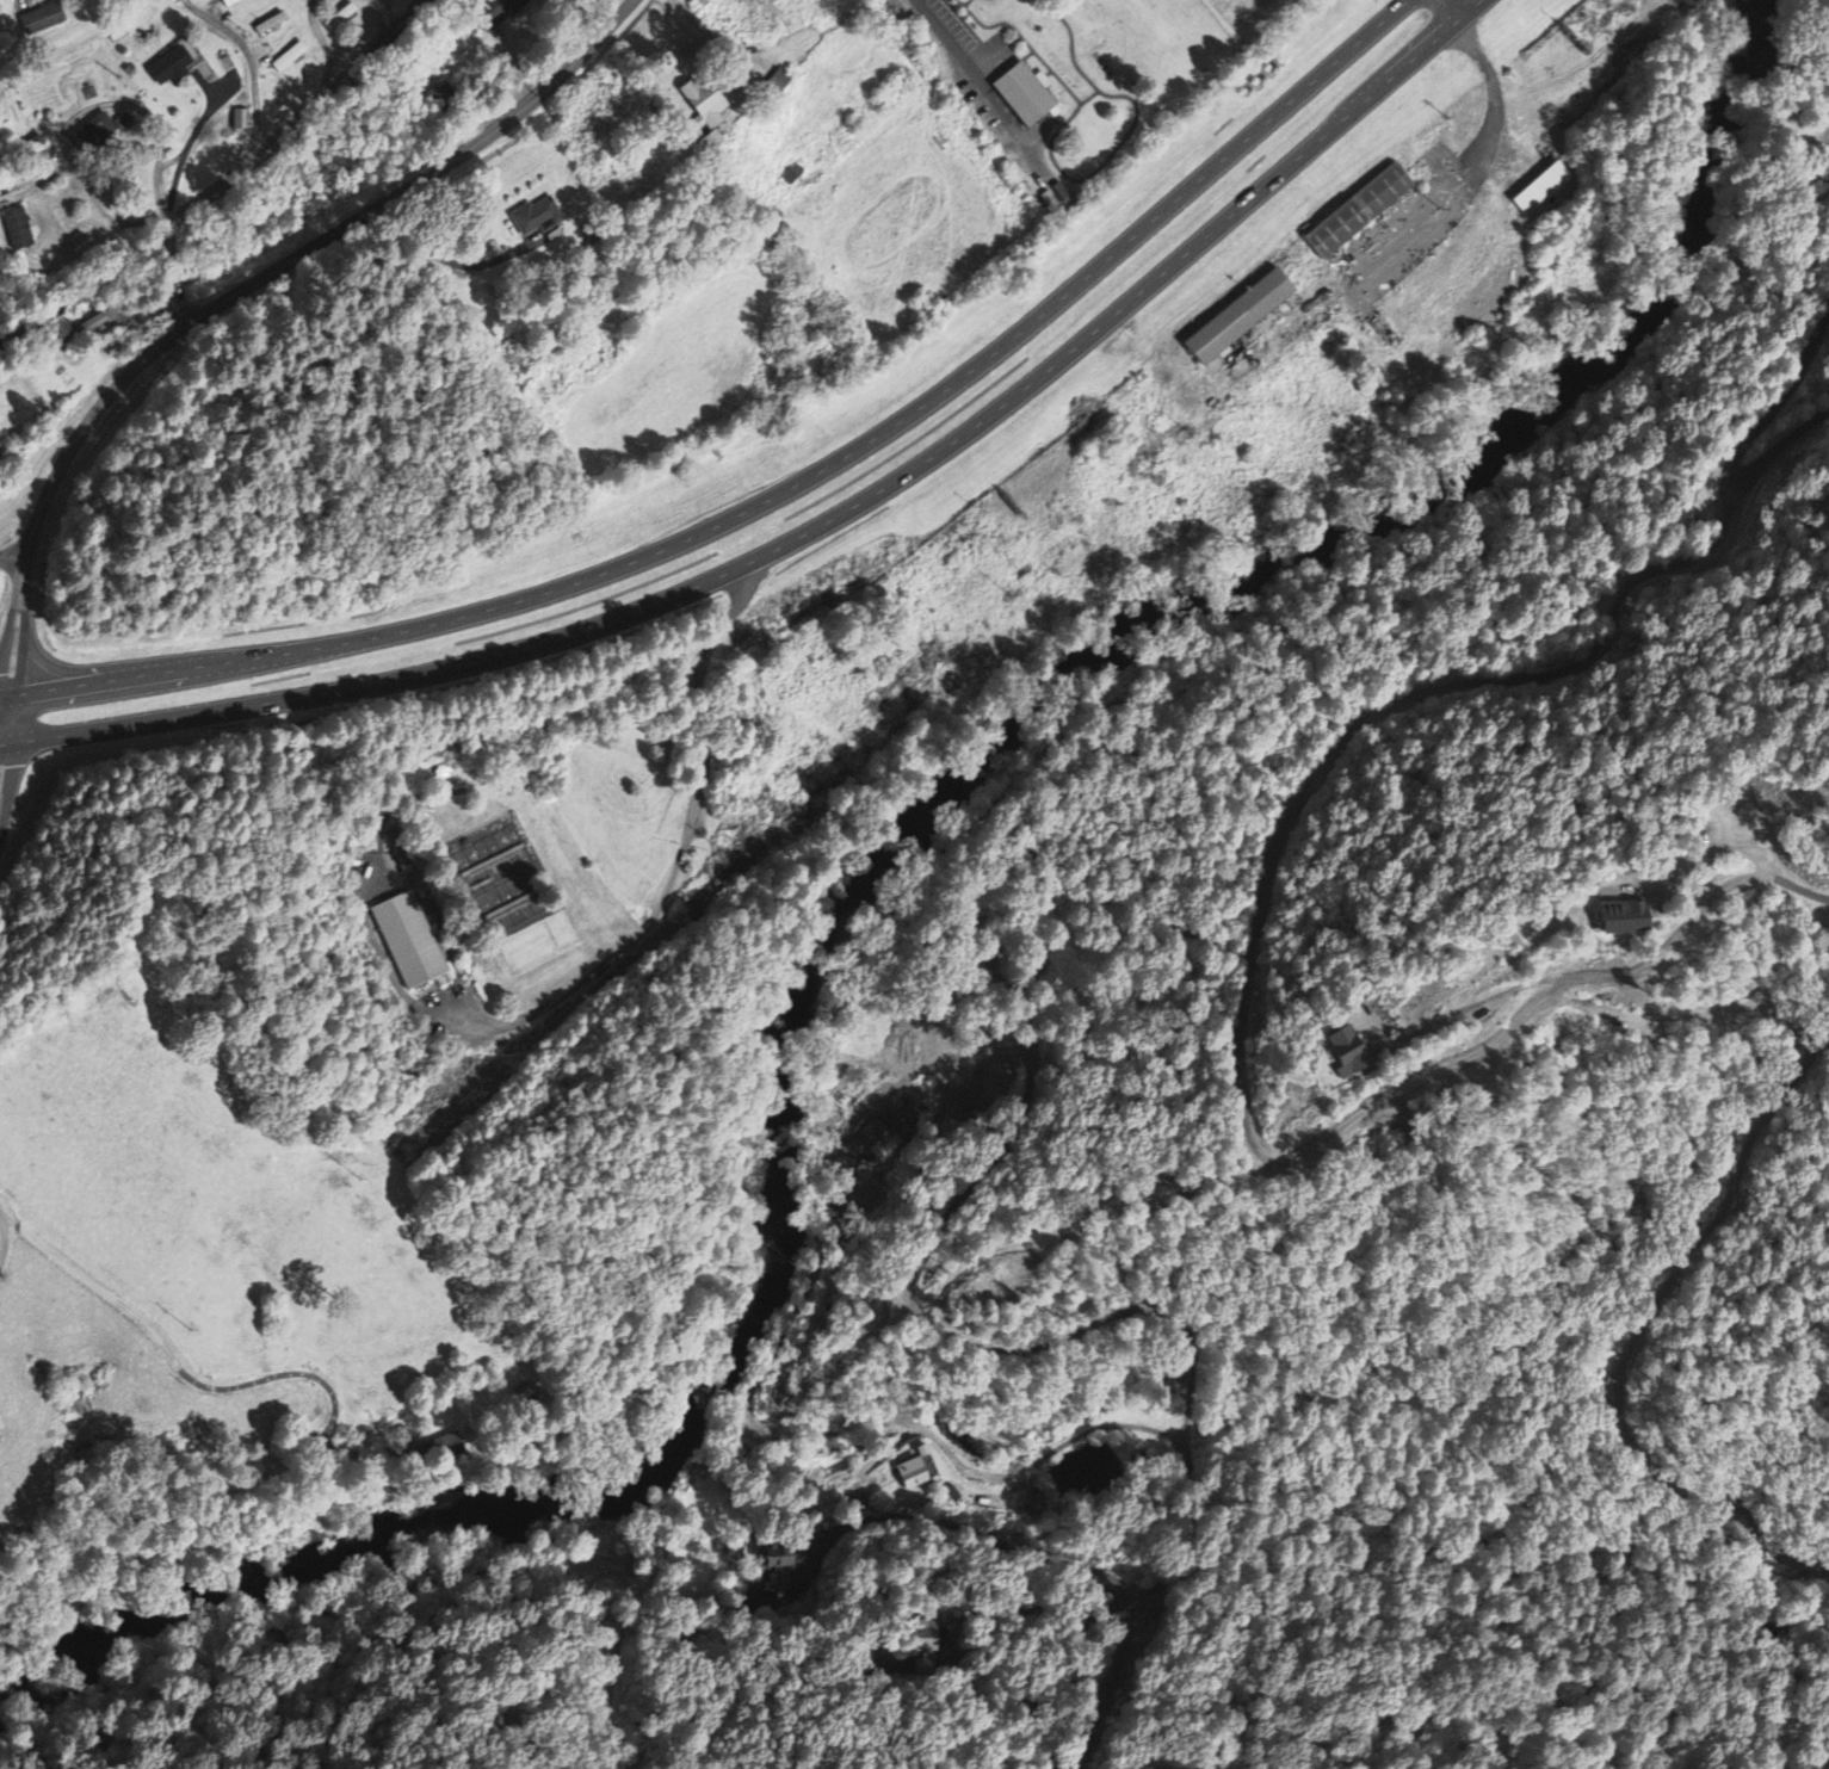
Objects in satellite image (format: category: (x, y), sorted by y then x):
building: (228, 2)
road: (1451, 8)
building: (41, 20)
building: (268, 25)
road: (323, 47)
road: (251, 58)
building: (169, 68)
building: (1024, 95)
building: (699, 106)
road: (298, 115)
building: (240, 120)
building: (100, 134)
building: (709, 143)
railway: (228, 184)
building: (1540, 190)
road: (171, 200)
power tower: (1442, 206)
building: (1358, 211)
building: (533, 216)
road: (128, 223)
building: (18, 230)
road: (218, 301)
building: (1237, 317)
power tower: (1192, 432)
road: (23, 441)
road: (774, 493)
road: (815, 525)
road: (13, 553)
power tower: (1011, 594)
road: (0, 757)
river: (869, 879)
power tower: (639, 916)
building: (1621, 918)
building: (409, 942)
building: (1345, 1052)
building: (876, 1142)
power tower: (362, 1176)
road: (0, 1242)
power tower: (192, 1330)
building: (910, 1474)

